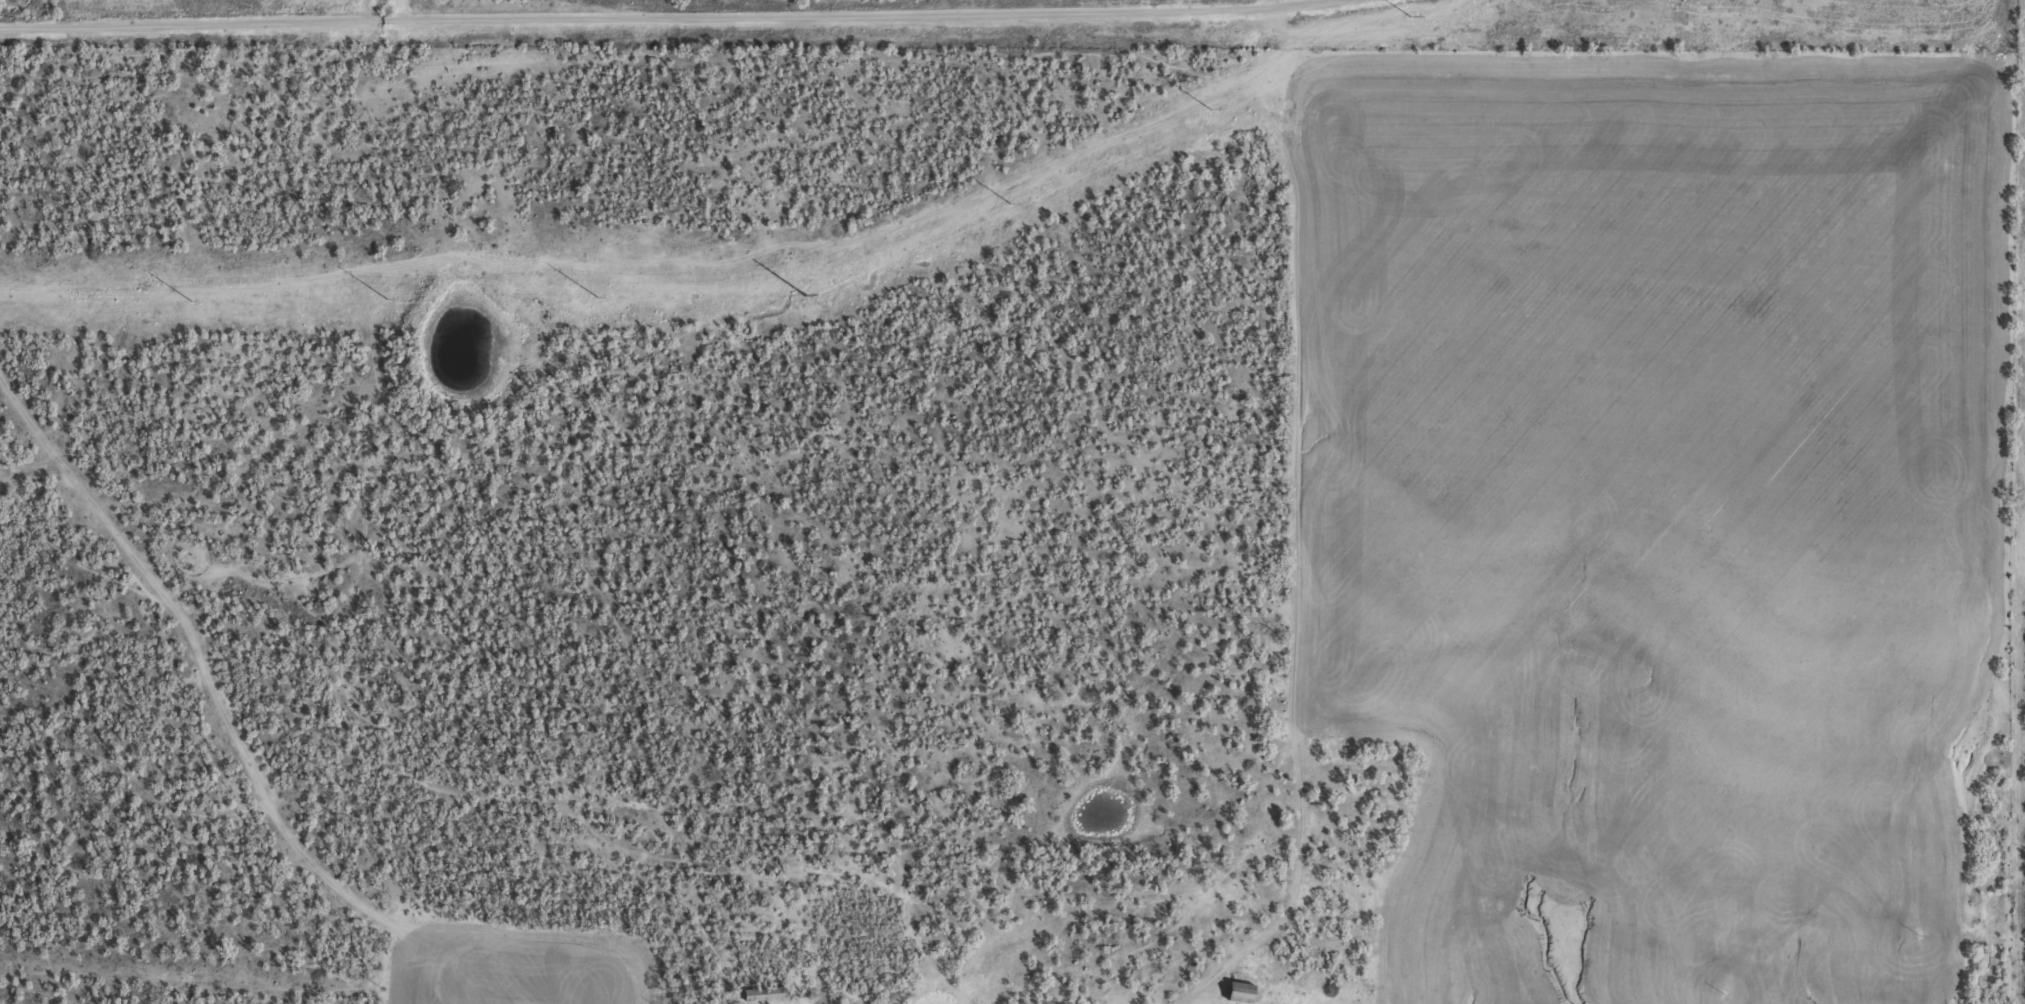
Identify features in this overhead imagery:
road: (670, 20)
building: (1240, 991)

